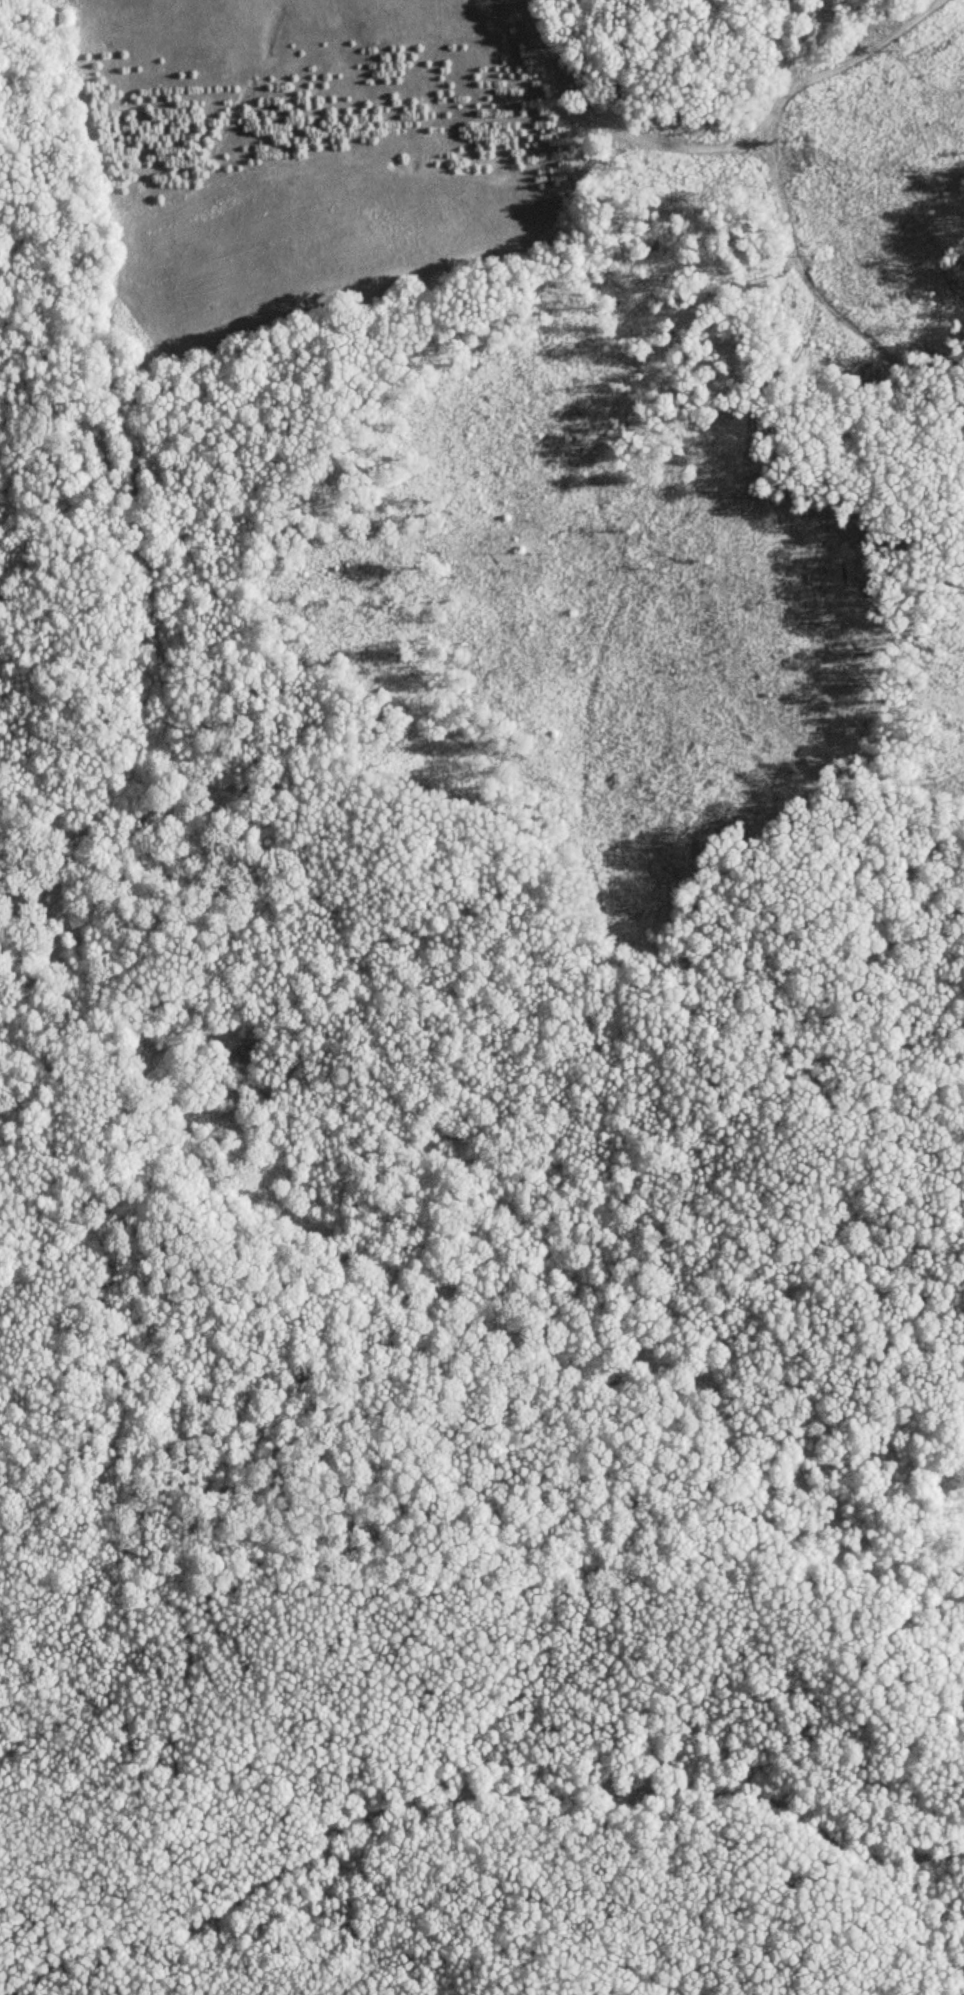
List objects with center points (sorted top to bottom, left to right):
road: (608, 127)
road: (783, 210)

